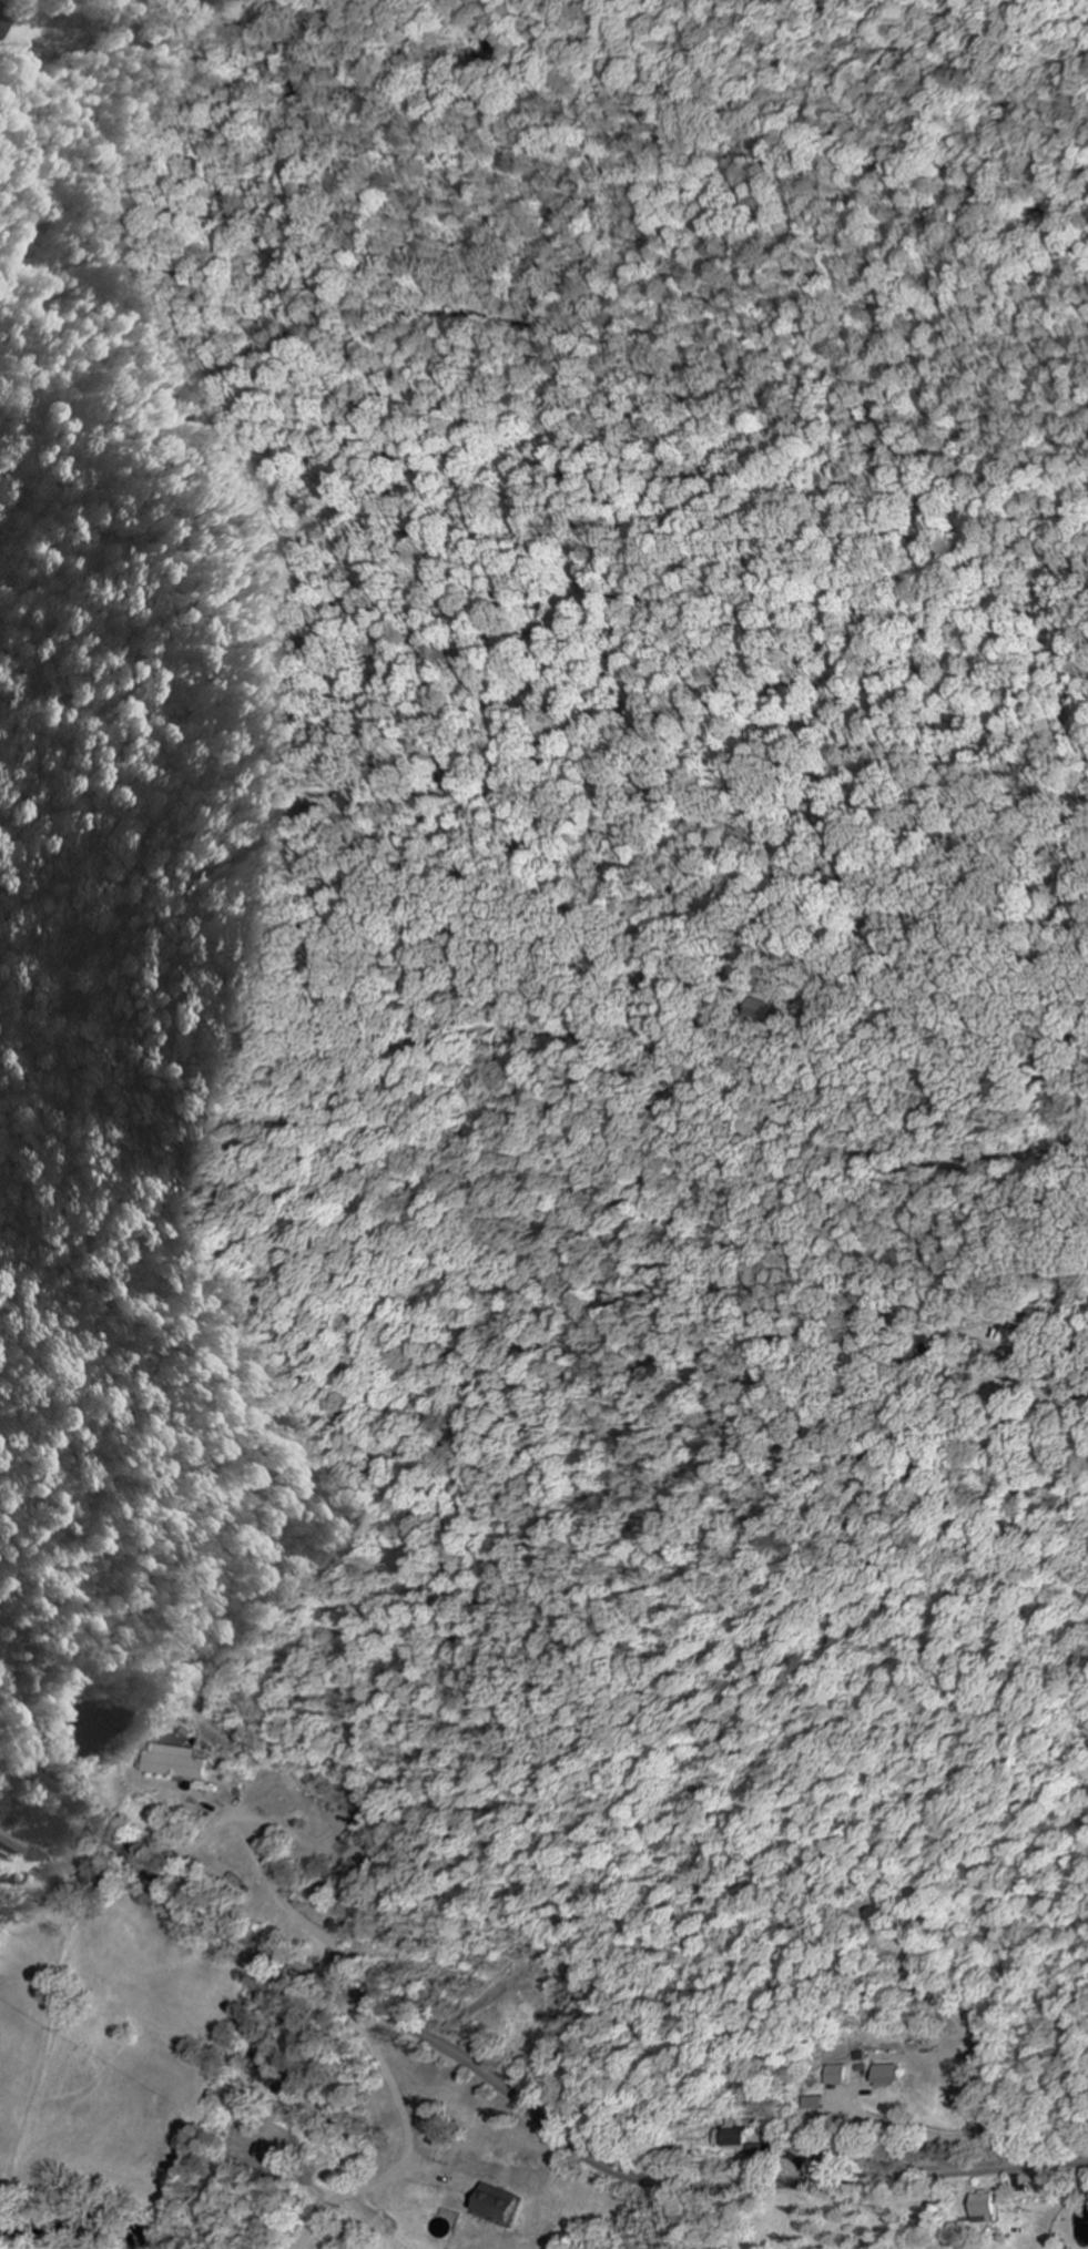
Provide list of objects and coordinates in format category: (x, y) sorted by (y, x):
building: (0, 4)
building: (3, 26)
building: (179, 1762)
building: (12, 1842)
road: (335, 1973)
building: (834, 2075)
building: (888, 2075)
road: (509, 2094)
road: (225, 2102)
building: (812, 2104)
building: (733, 2135)
building: (754, 2150)
building: (498, 2204)
building: (984, 2205)

